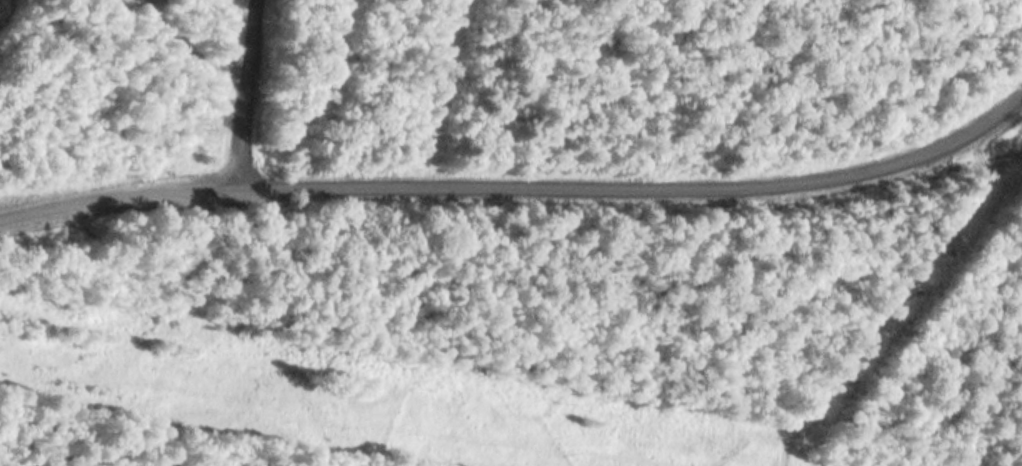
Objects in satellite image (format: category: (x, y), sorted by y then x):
road: (240, 94)
road: (518, 185)
ski resort: (510, 232)

